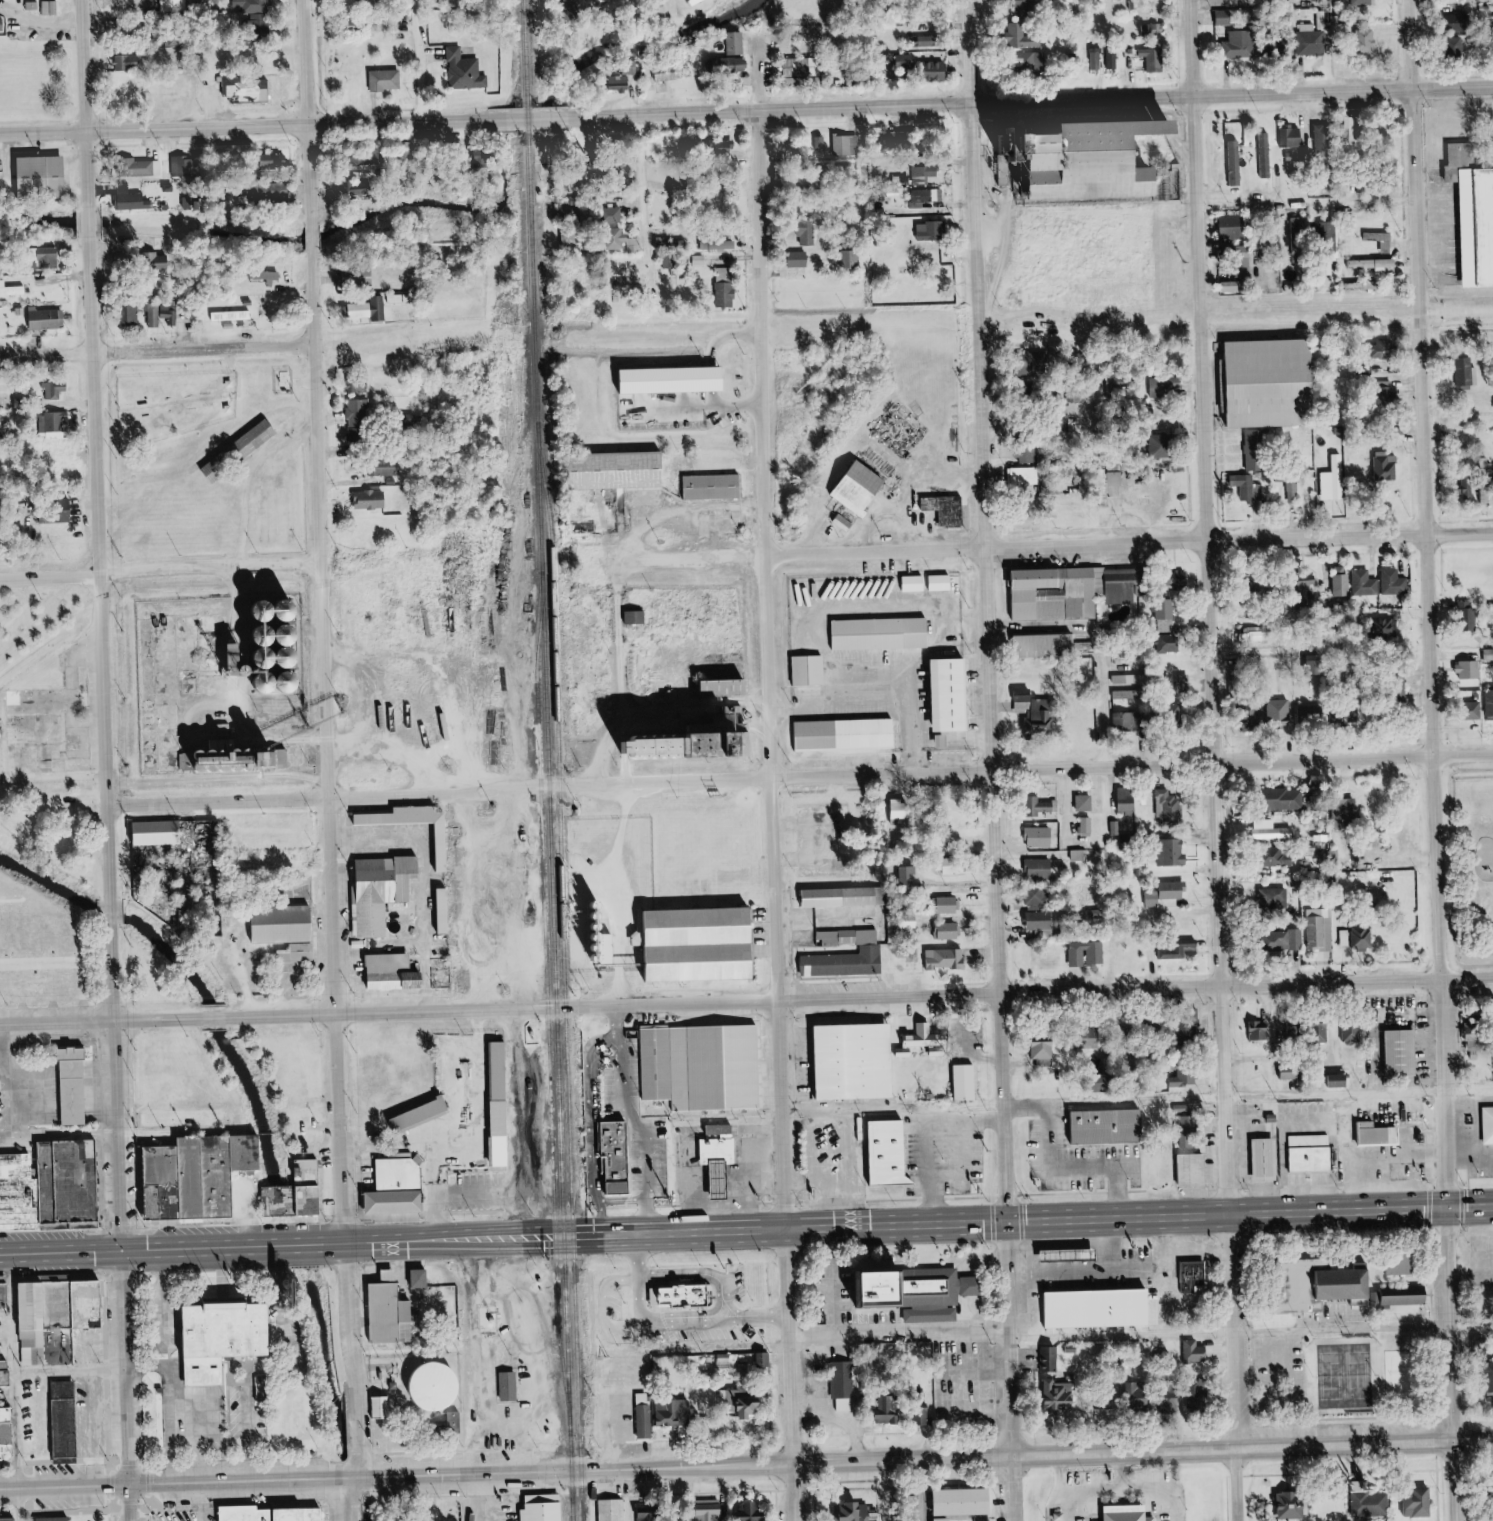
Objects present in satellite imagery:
building: (697, 1)
building: (1363, 2)
building: (34, 5)
building: (175, 5)
building: (254, 5)
building: (52, 7)
building: (1228, 18)
building: (1322, 19)
building: (3, 23)
building: (1153, 29)
building: (1027, 38)
building: (932, 39)
building: (1369, 41)
building: (737, 42)
building: (1241, 44)
road: (1421, 45)
road: (1203, 48)
road: (981, 52)
building: (1152, 58)
building: (1095, 59)
building: (1112, 59)
road: (427, 61)
building: (128, 62)
building: (731, 65)
building: (922, 66)
building: (804, 67)
building: (467, 71)
building: (627, 76)
building: (671, 76)
road: (767, 77)
building: (388, 80)
building: (249, 88)
road: (1070, 101)
road: (323, 124)
building: (902, 137)
building: (1293, 137)
building: (1324, 137)
building: (727, 145)
building: (845, 145)
building: (1087, 153)
building: (1264, 155)
building: (366, 159)
building: (1235, 163)
building: (187, 167)
building: (149, 168)
building: (927, 171)
building: (43, 175)
building: (1, 177)
road: (653, 183)
building: (275, 192)
building: (923, 197)
building: (133, 198)
building: (613, 215)
building: (1481, 225)
building: (1236, 227)
building: (933, 230)
building: (1299, 231)
building: (1329, 231)
building: (812, 232)
building: (1383, 240)
building: (721, 244)
building: (52, 256)
building: (851, 258)
building: (803, 259)
building: (1241, 260)
building: (1377, 264)
building: (267, 275)
building: (362, 276)
building: (726, 286)
building: (1237, 286)
building: (12, 289)
building: (363, 310)
building: (160, 314)
building: (234, 315)
building: (48, 318)
road: (1239, 318)
railway: (694, 328)
road: (693, 337)
road: (163, 351)
building: (1041, 363)
building: (1467, 372)
building: (679, 379)
building: (1278, 382)
building: (358, 385)
building: (1164, 388)
building: (55, 390)
building: (359, 418)
building: (59, 420)
road: (102, 448)
building: (248, 449)
building: (1028, 453)
building: (1254, 458)
building: (1387, 466)
building: (382, 468)
building: (612, 470)
building: (1025, 475)
building: (1117, 478)
building: (1334, 480)
building: (709, 487)
building: (1249, 487)
building: (864, 488)
building: (373, 499)
building: (949, 509)
building: (61, 513)
road: (1062, 547)
road: (165, 572)
building: (1313, 578)
building: (1341, 580)
building: (1394, 581)
building: (909, 583)
building: (935, 583)
building: (1364, 583)
building: (1122, 586)
building: (1057, 594)
building: (1168, 609)
building: (636, 617)
building: (1386, 628)
building: (875, 634)
building: (1048, 645)
building: (45, 663)
building: (1470, 669)
road: (778, 671)
building: (804, 671)
building: (1185, 683)
building: (731, 687)
building: (1123, 694)
building: (945, 696)
building: (1489, 705)
building: (33, 707)
building: (1037, 708)
building: (1279, 711)
building: (1307, 713)
building: (841, 735)
road: (337, 739)
building: (699, 741)
building: (936, 741)
building: (281, 758)
railway: (553, 760)
building: (223, 761)
road: (804, 778)
building: (1127, 800)
building: (1087, 802)
building: (1041, 806)
road: (1444, 806)
building: (1173, 807)
road: (1227, 808)
building: (904, 809)
building: (1349, 810)
road: (997, 813)
building: (1115, 827)
building: (1272, 830)
building: (162, 832)
building: (1041, 837)
building: (446, 848)
building: (1176, 852)
building: (1081, 855)
building: (1281, 857)
building: (957, 866)
building: (1042, 868)
building: (910, 875)
building: (391, 890)
building: (1167, 893)
building: (843, 897)
building: (1037, 898)
building: (1275, 898)
building: (950, 905)
building: (447, 910)
road: (120, 911)
building: (1041, 920)
building: (292, 924)
building: (1321, 928)
building: (603, 931)
building: (951, 931)
building: (851, 937)
building: (1346, 937)
building: (1363, 937)
building: (1287, 940)
building: (703, 944)
building: (1180, 950)
building: (307, 952)
building: (1088, 953)
building: (946, 958)
road: (1471, 958)
building: (845, 963)
building: (404, 972)
road: (869, 999)
road: (224, 1016)
road: (102, 1021)
building: (1192, 1029)
building: (1260, 1030)
building: (1353, 1030)
building: (1297, 1031)
building: (1481, 1036)
building: (921, 1041)
road: (625, 1044)
building: (1044, 1051)
road: (631, 1052)
building: (1410, 1053)
building: (860, 1056)
road: (488, 1059)
road: (63, 1063)
building: (710, 1068)
road: (65, 1071)
road: (603, 1071)
building: (1187, 1075)
road: (67, 1077)
building: (1341, 1080)
building: (967, 1082)
road: (69, 1083)
building: (76, 1086)
road: (69, 1089)
road: (70, 1095)
road: (1248, 1098)
road: (70, 1100)
building: (508, 1101)
road: (10, 1103)
road: (70, 1105)
road: (69, 1111)
building: (429, 1113)
road: (70, 1118)
road: (990, 1120)
building: (1492, 1120)
building: (1114, 1124)
building: (1189, 1127)
road: (522, 1131)
road: (70, 1132)
building: (1385, 1134)
building: (1318, 1139)
road: (977, 1145)
building: (727, 1149)
building: (896, 1152)
building: (621, 1157)
building: (1273, 1158)
road: (657, 1165)
building: (1201, 1168)
road: (1079, 1169)
road: (932, 1173)
building: (206, 1174)
building: (64, 1180)
gas station: (728, 1181)
building: (317, 1187)
building: (405, 1188)
building: (17, 1189)
road: (447, 1193)
road: (1126, 1193)
road: (486, 1196)
road: (1018, 1196)
building: (280, 1200)
road: (813, 1203)
traffic signals: (1458, 1206)
road: (260, 1213)
road: (658, 1214)
road: (611, 1215)
road: (133, 1222)
traffic signals: (1010, 1223)
road: (177, 1227)
road: (746, 1231)
traffic signals: (129, 1249)
gas station: (1076, 1253)
building: (1410, 1257)
road: (1490, 1258)
road: (1433, 1259)
road: (1257, 1265)
road: (65, 1277)
building: (1195, 1277)
building: (428, 1278)
road: (1475, 1281)
building: (747, 1282)
building: (1329, 1284)
road: (1276, 1286)
building: (930, 1291)
building: (683, 1295)
building: (1, 1296)
building: (1412, 1296)
road: (1438, 1296)
building: (710, 1304)
building: (1122, 1306)
road: (173, 1308)
building: (49, 1311)
building: (398, 1311)
building: (725, 1321)
building: (753, 1325)
road: (1443, 1326)
road: (1351, 1331)
building: (229, 1336)
building: (1197, 1352)
road: (82, 1353)
road: (1260, 1355)
road: (301, 1357)
building: (1052, 1358)
park: (1413, 1369)
road: (7, 1371)
road: (69, 1371)
road: (800, 1375)
building: (1, 1378)
park: (1354, 1378)
building: (844, 1384)
building: (517, 1387)
building: (443, 1389)
storage tank: (443, 1389)
park: (1353, 1389)
building: (1062, 1397)
building: (750, 1401)
road: (177, 1404)
building: (391, 1406)
building: (681, 1412)
building: (891, 1414)
building: (61, 1420)
building: (653, 1421)
road: (1354, 1421)
building: (462, 1422)
road: (955, 1433)
building: (2, 1434)
road: (451, 1450)
road: (746, 1467)
road: (1159, 1488)
road: (1090, 1489)
road: (752, 1491)
road: (896, 1491)
road: (934, 1491)
road: (523, 1496)
road: (426, 1497)
park: (422, 1498)
road: (490, 1498)
building: (969, 1499)
road: (358, 1500)
road: (218, 1502)
building: (1418, 1502)
road: (1065, 1503)
building: (1371, 1503)
road: (27, 1505)
building: (1295, 1505)
road: (787, 1506)
building: (551, 1507)
parking lot: (188, 1509)
building: (613, 1510)
building: (711, 1510)
building: (859, 1511)
building: (1137, 1511)
building: (250, 1512)
building: (749, 1512)
road: (59, 1513)
building: (304, 1513)
flagpole: (336, 1513)
flagpole: (463, 1513)
road: (119, 1516)
road: (80, 1517)
building: (62, 1518)
building: (12, 1519)
building: (650, 1519)
building: (947, 1519)

